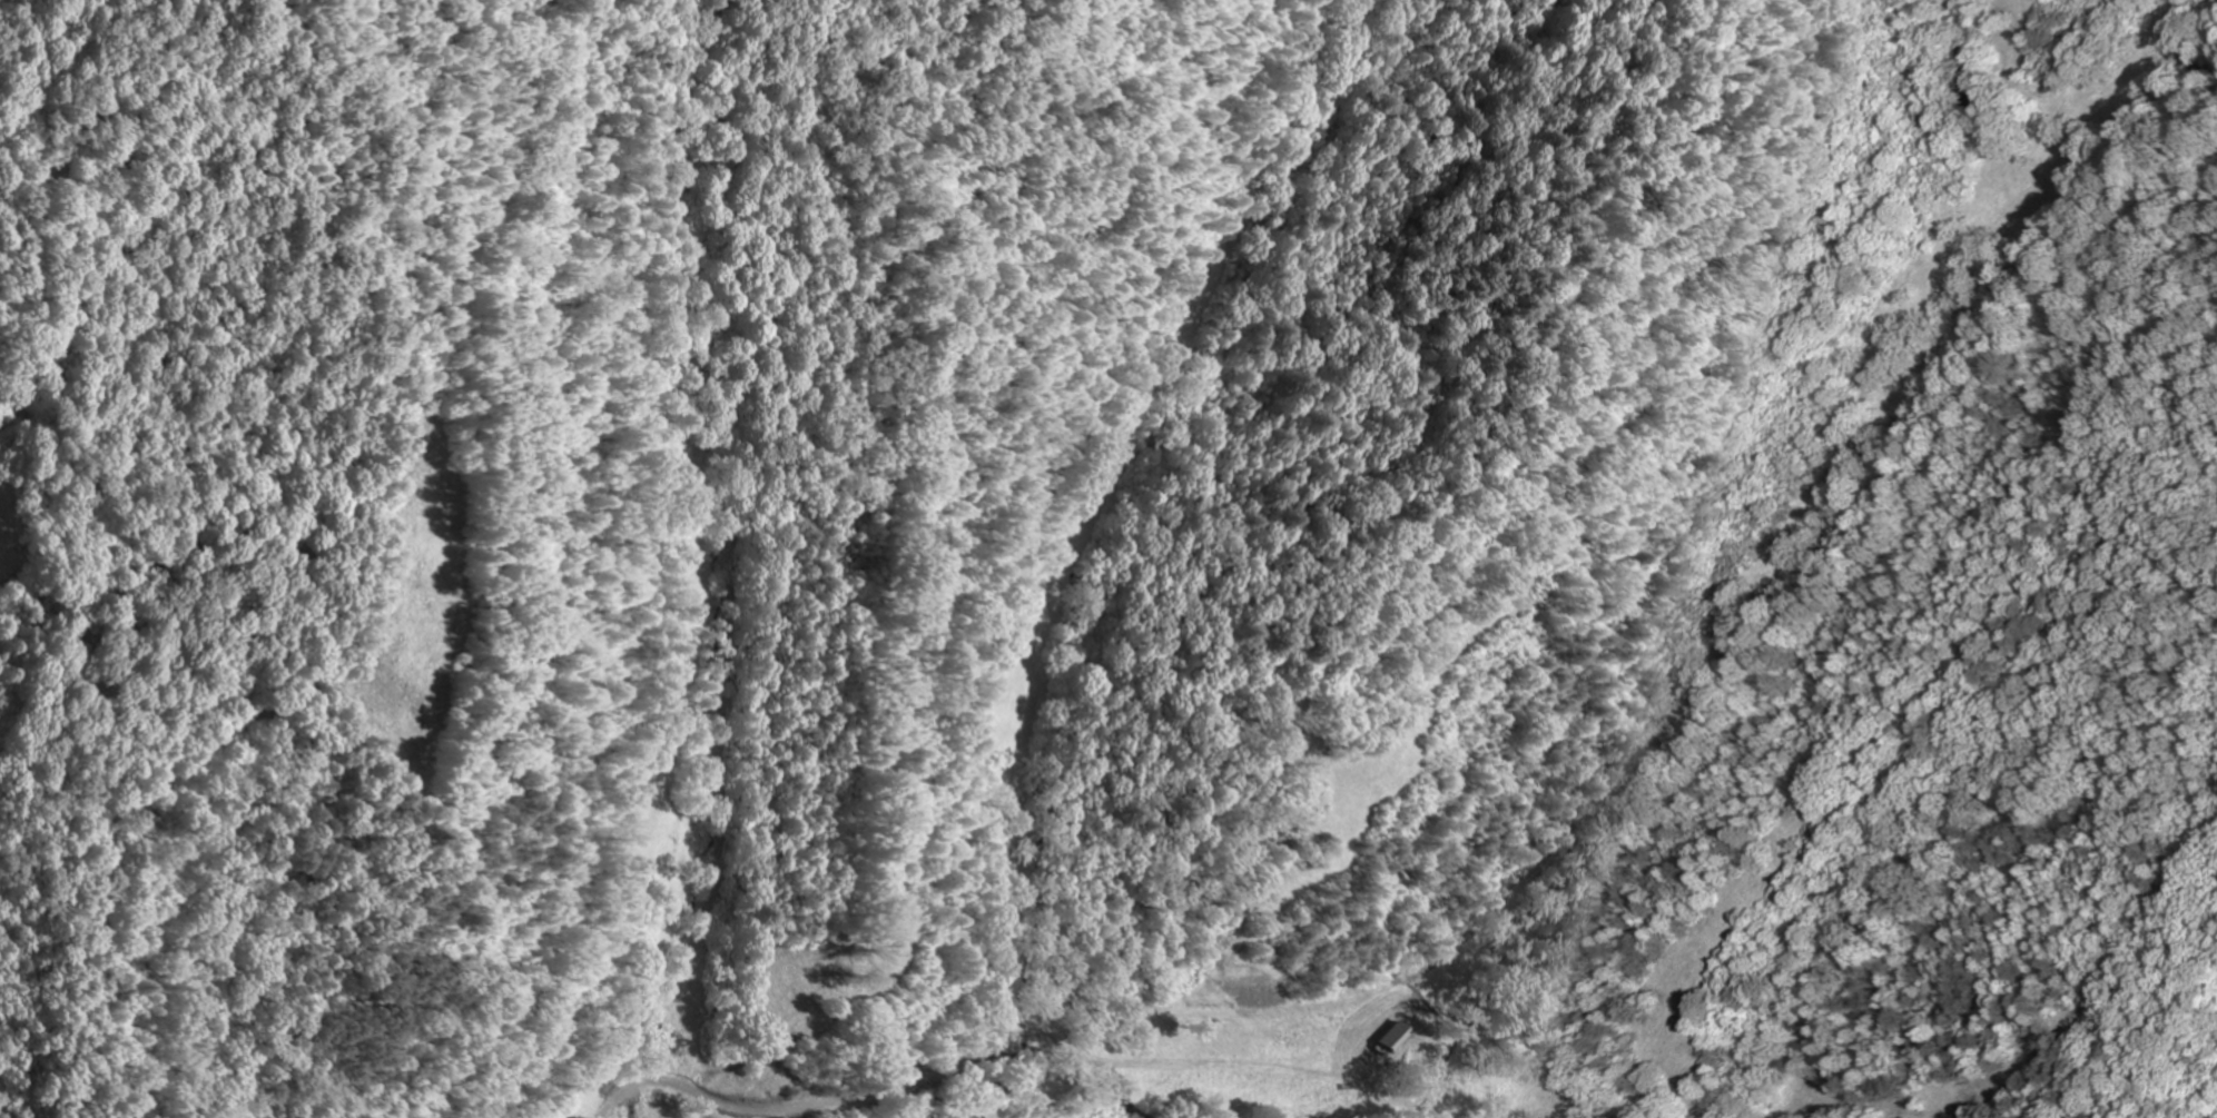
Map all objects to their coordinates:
building: (1396, 1038)

